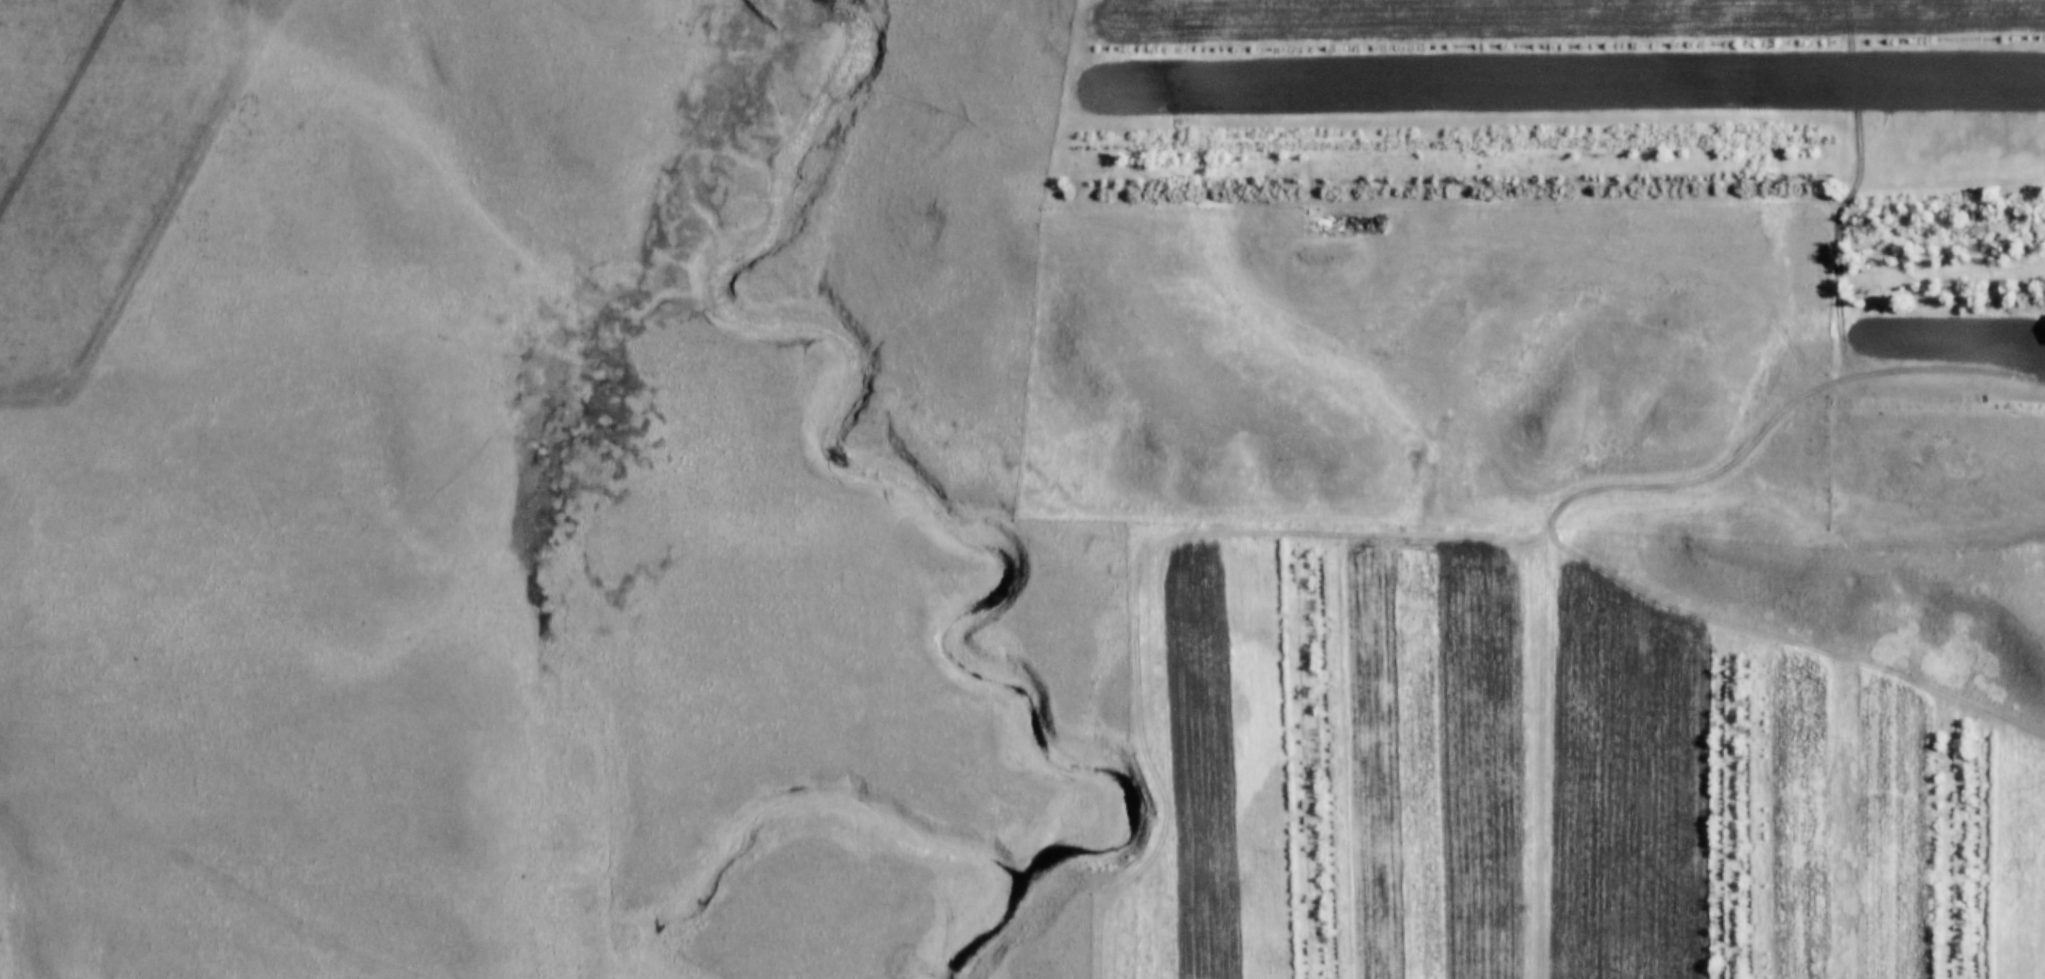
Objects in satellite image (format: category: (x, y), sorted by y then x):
road: (1849, 192)
road: (1782, 422)

